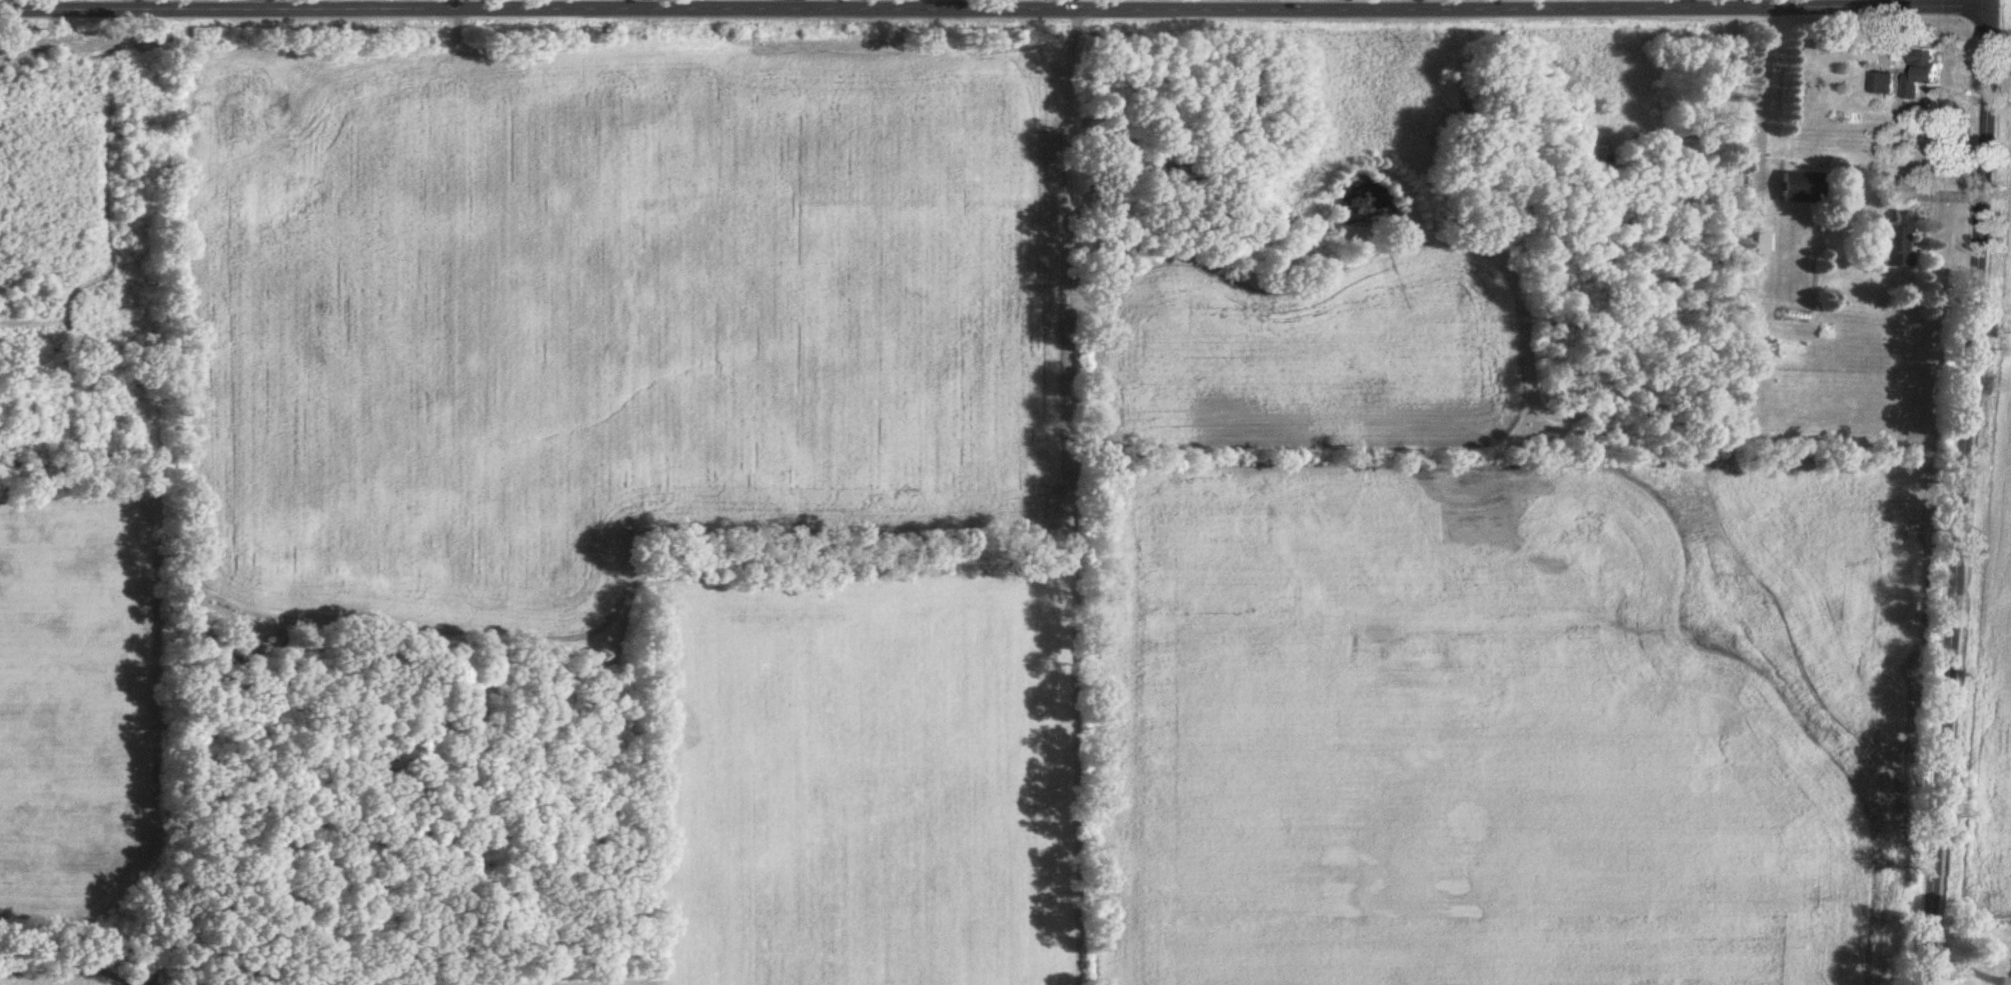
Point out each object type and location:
road: (791, 6)
road: (1002, 11)
building: (1926, 69)
building: (1885, 85)
building: (1803, 188)
building: (1762, 243)
building: (1898, 243)
road: (1968, 492)

